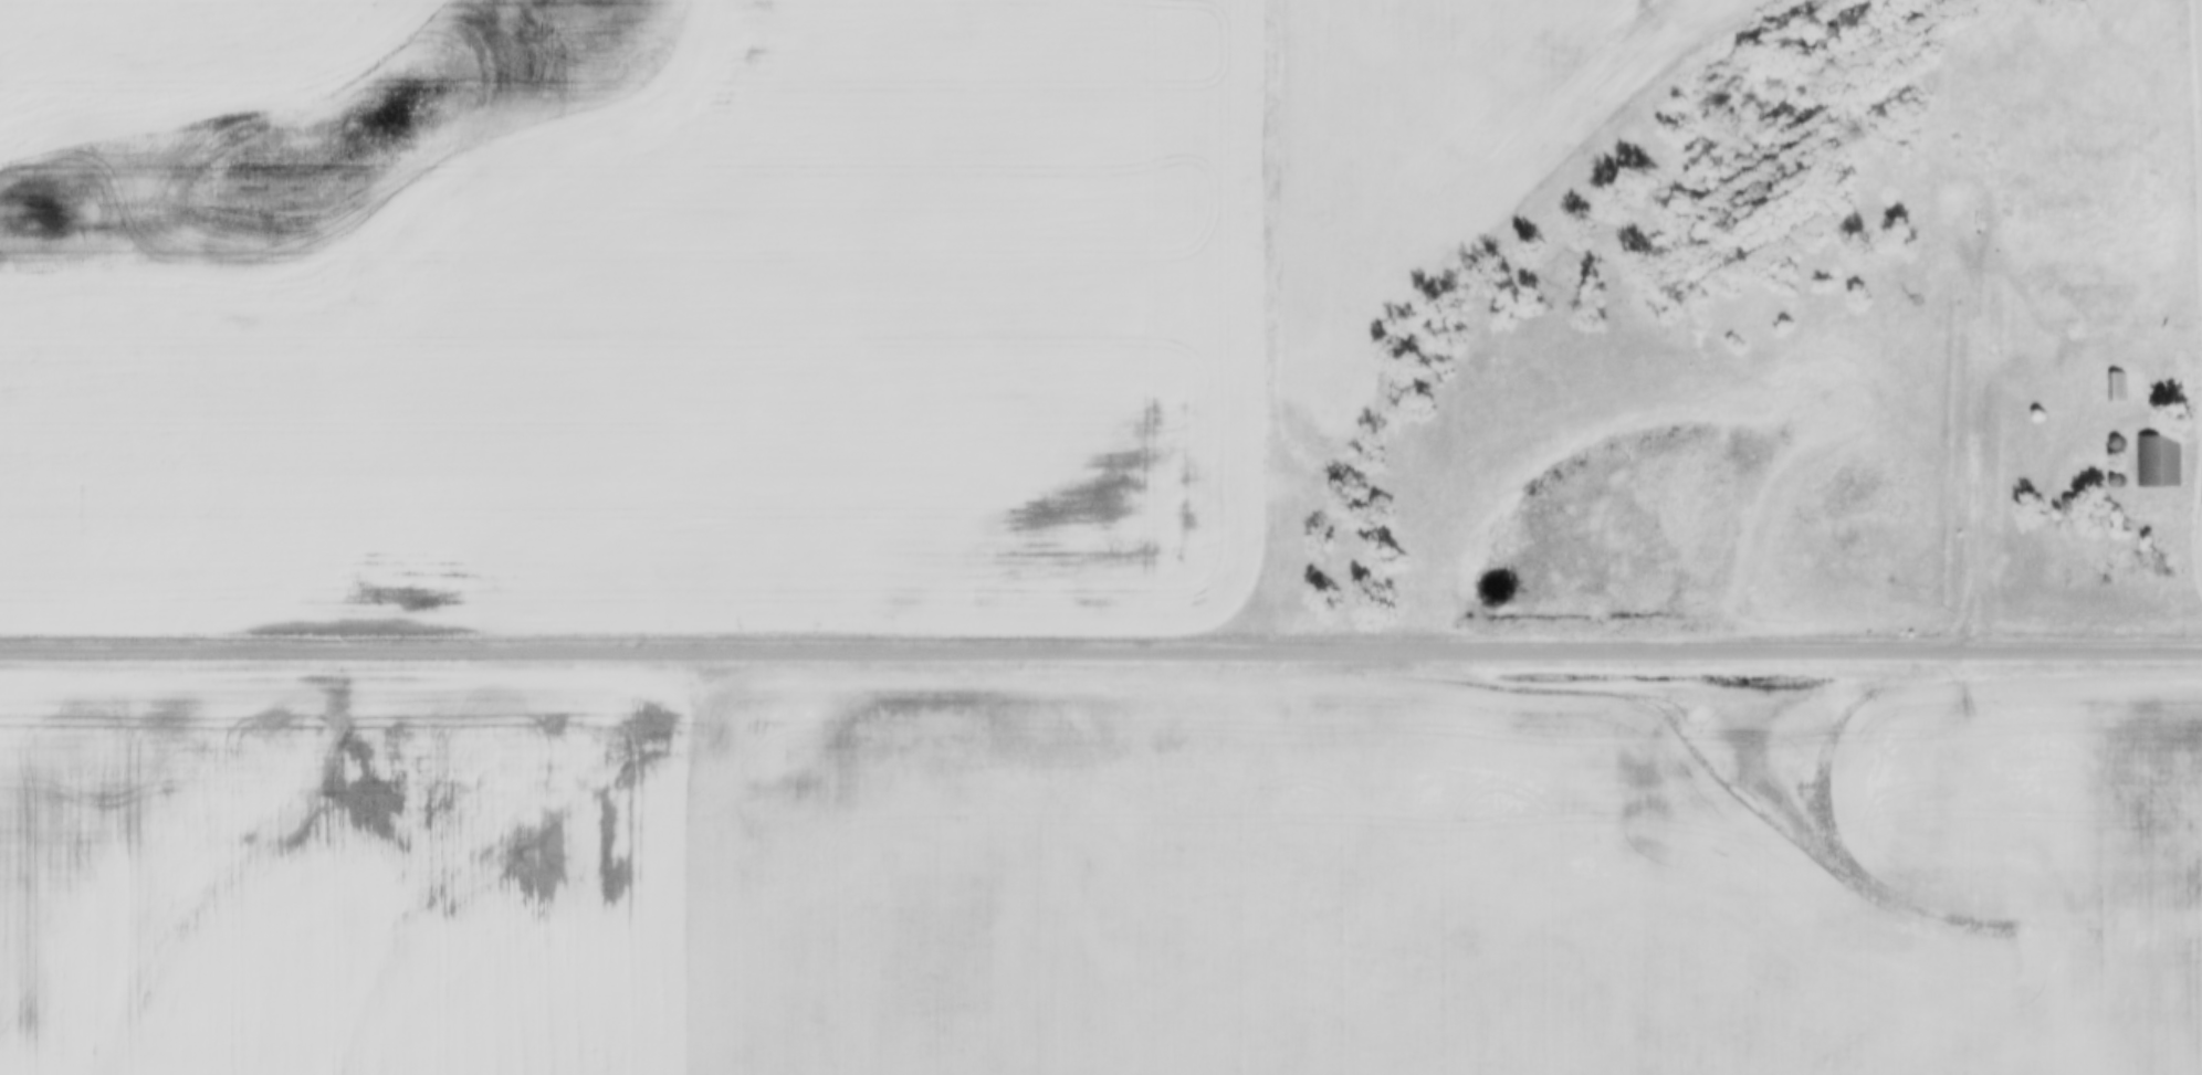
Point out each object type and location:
building: (2100, 315)
road: (1973, 451)
building: (2158, 459)
road: (1101, 651)

